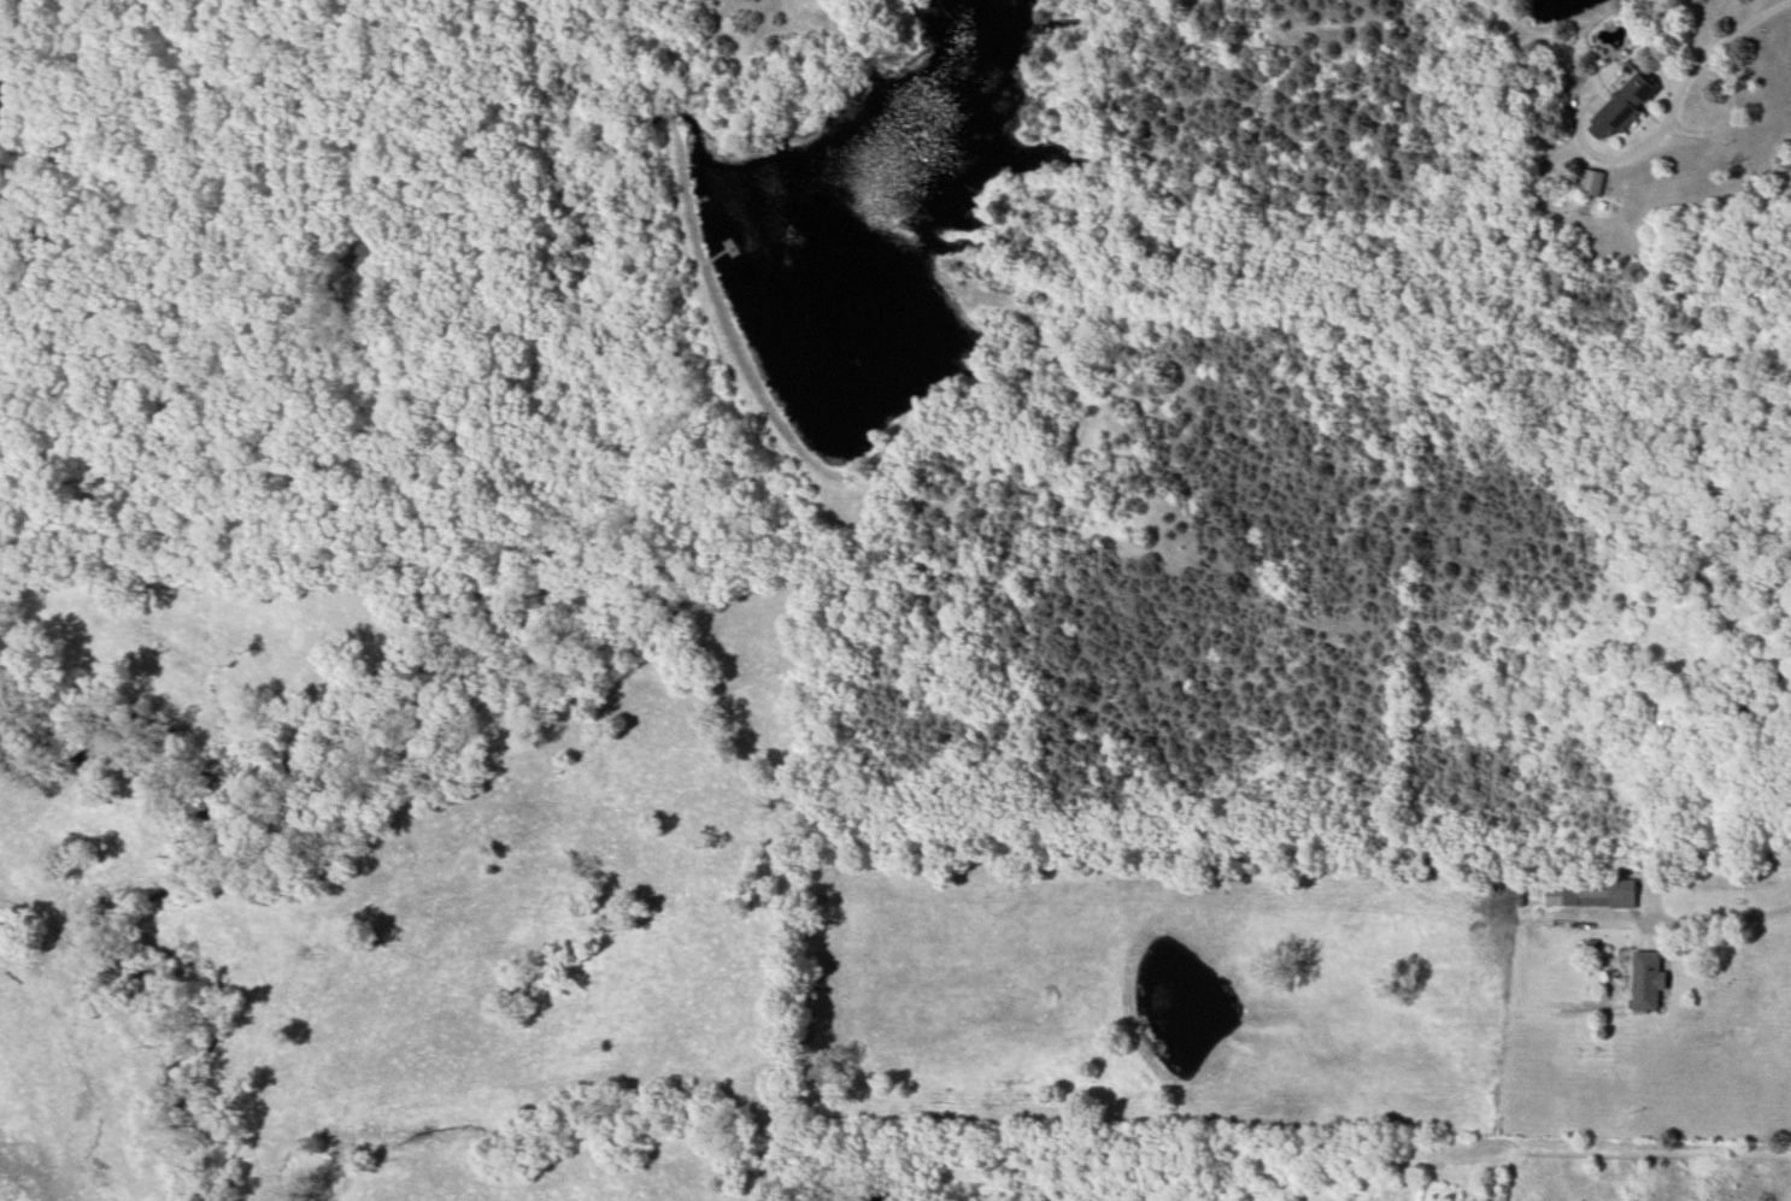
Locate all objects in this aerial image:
building: (1625, 107)
road: (1668, 112)
building: (1593, 183)
building: (1591, 893)
road: (1721, 919)
building: (1649, 982)

